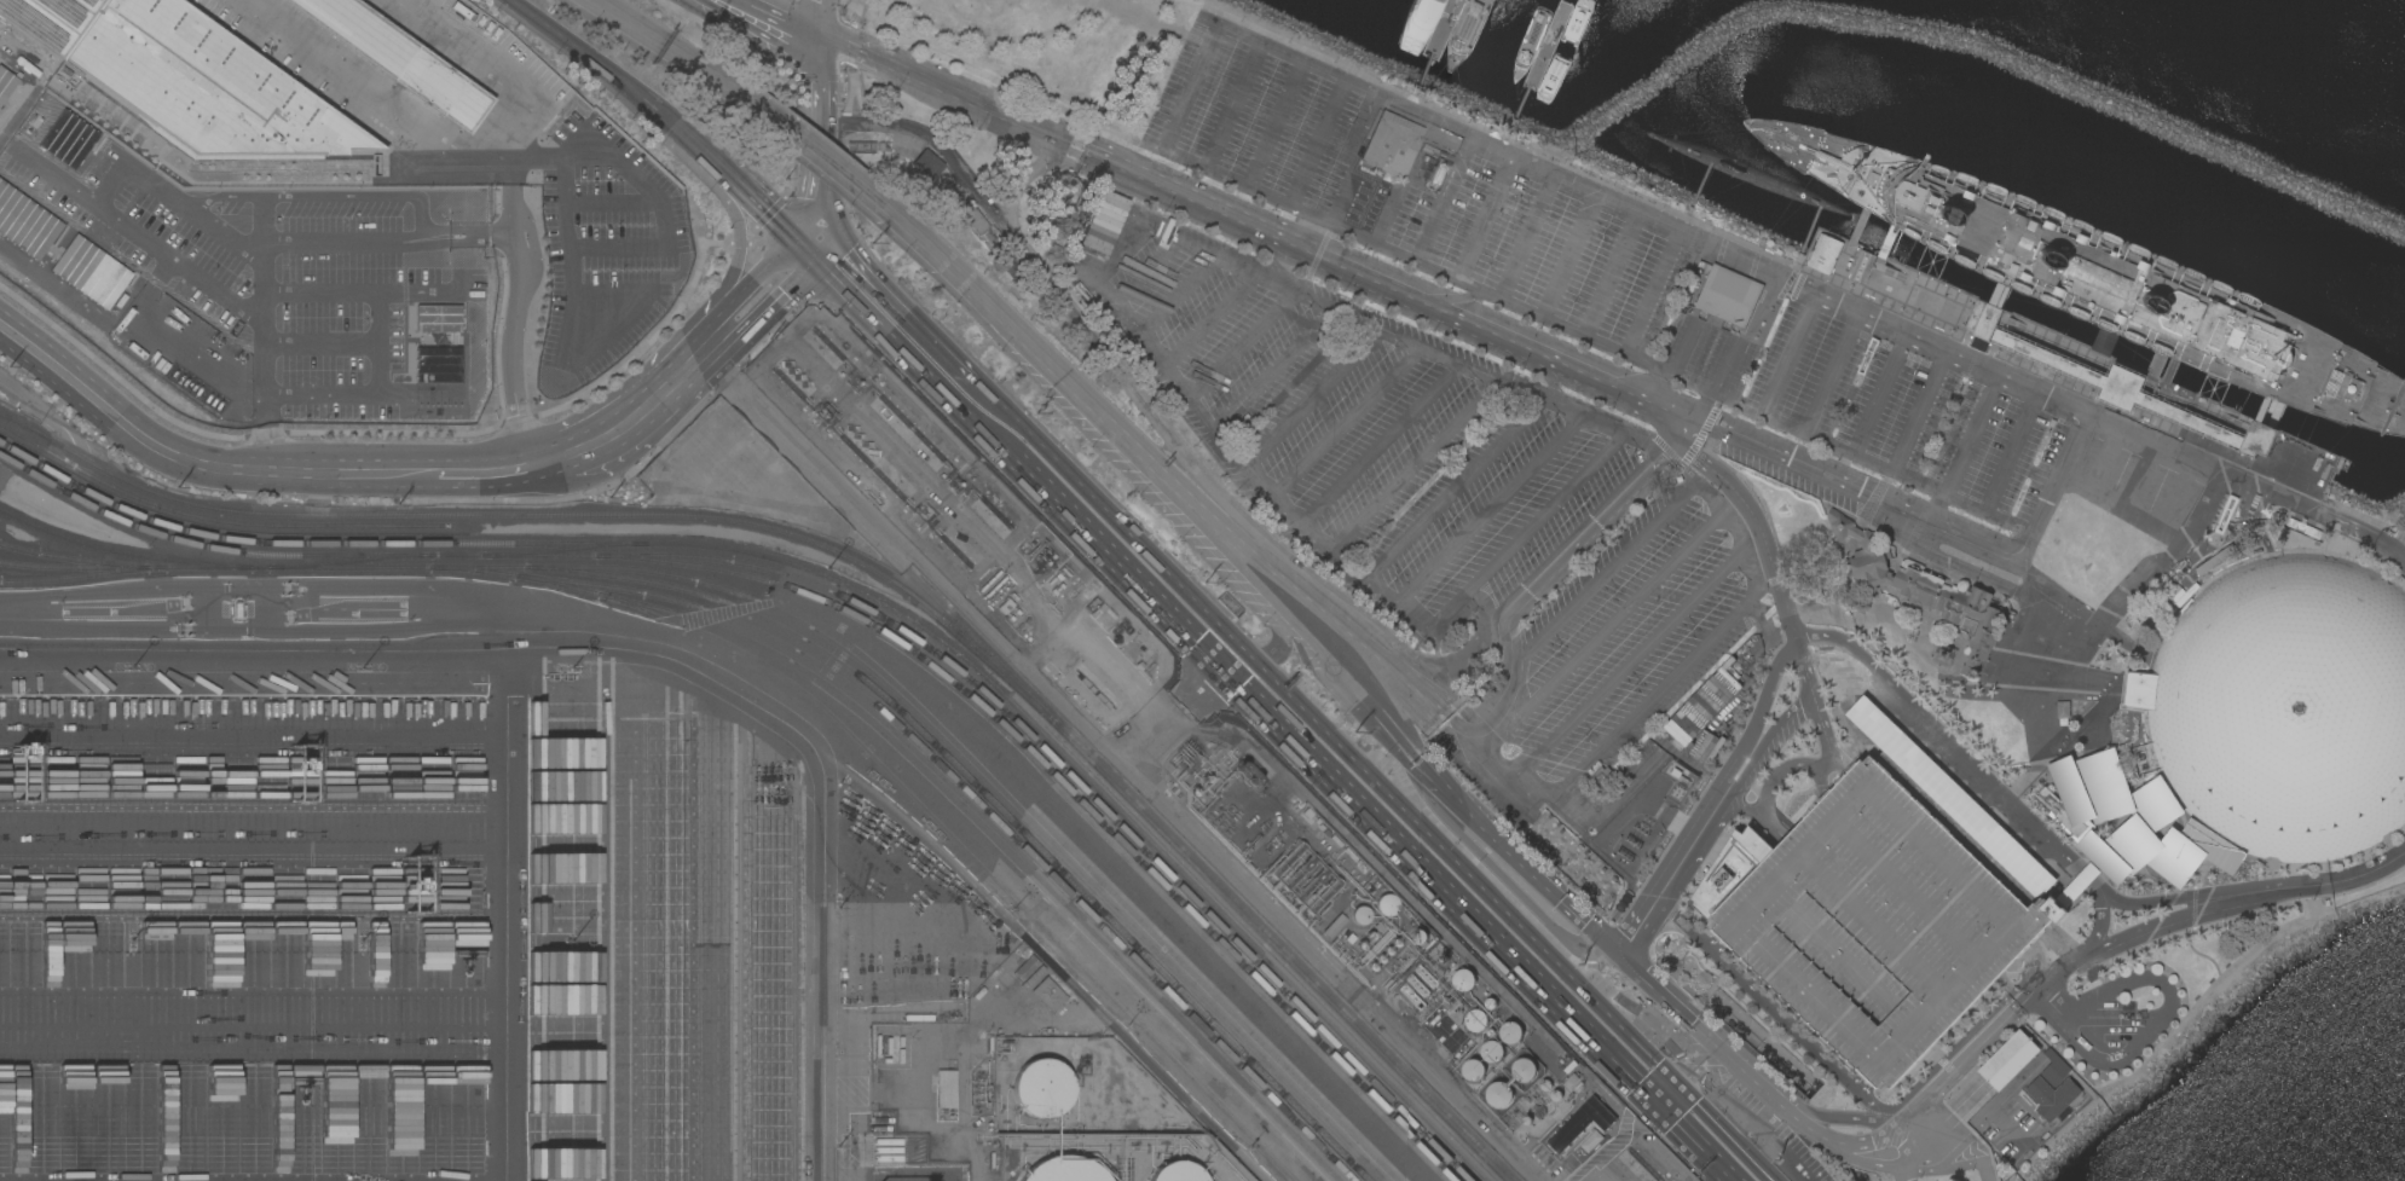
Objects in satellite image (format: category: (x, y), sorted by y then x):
road: (852, 8)
road: (790, 15)
road: (821, 15)
road: (1175, 16)
building: (52, 21)
road: (630, 21)
traffic signals: (821, 29)
pier: (1441, 31)
road: (771, 35)
road: (995, 39)
road: (851, 42)
park: (1102, 47)
pier: (1545, 51)
road: (821, 56)
building: (399, 58)
road: (591, 60)
road: (482, 62)
road: (894, 62)
road: (709, 75)
building: (5, 83)
traffic signals: (821, 83)
road: (1186, 85)
building: (204, 86)
road: (371, 92)
road: (1046, 102)
road: (1231, 104)
road: (820, 106)
road: (1274, 123)
building: (68, 139)
road: (692, 143)
road: (1317, 143)
building: (1392, 144)
road: (511, 149)
toll booth: (1076, 150)
road: (557, 158)
road: (820, 161)
building: (919, 167)
building: (1069, 172)
building: (1439, 174)
building: (1742, 175)
road: (58, 176)
road: (1380, 181)
road: (815, 186)
road: (1019, 186)
road: (1699, 192)
road: (322, 195)
road: (1446, 201)
road: (761, 202)
road: (609, 204)
building: (973, 218)
road: (1481, 219)
building: (1103, 221)
building: (25, 222)
road: (1860, 226)
road: (1810, 232)
road: (1524, 238)
road: (244, 241)
traffic signals: (810, 243)
road: (1300, 248)
road: (1125, 249)
building: (1825, 254)
road: (1567, 257)
road: (1272, 259)
road: (1880, 259)
road: (1744, 265)
building: (1867, 266)
road: (1438, 268)
building: (91, 271)
road: (1143, 272)
road: (1608, 276)
building: (2103, 279)
parking lot: (1595, 282)
road: (855, 288)
road: (215, 289)
road: (363, 290)
road: (716, 295)
road: (1653, 295)
road: (1175, 296)
building: (1729, 296)
road: (2000, 297)
road: (1459, 299)
road: (753, 302)
building: (438, 318)
road: (1208, 320)
road: (1071, 322)
road: (262, 332)
road: (2103, 341)
road: (377, 342)
building: (2104, 342)
road: (319, 343)
road: (566, 345)
road: (1239, 345)
road: (1684, 349)
road: (1742, 355)
building: (437, 364)
road: (1465, 369)
road: (2169, 369)
road: (46, 370)
road: (1274, 371)
road: (2152, 374)
road: (1548, 380)
building: (2137, 386)
road: (669, 388)
road: (359, 394)
road: (1308, 396)
road: (1871, 410)
road: (2261, 411)
road: (2273, 416)
road: (1105, 417)
road: (1345, 422)
road: (1783, 424)
railway: (24, 425)
road: (1913, 427)
road: (1612, 428)
road: (1380, 444)
road: (586, 446)
railway: (10, 447)
road: (1411, 465)
road: (1682, 465)
road: (473, 467)
road: (247, 471)
parking lot: (2045, 479)
parking lot: (1788, 482)
road: (1452, 487)
road: (1852, 488)
road: (2050, 490)
road: (1066, 499)
road: (1962, 505)
road: (1490, 509)
road: (1754, 519)
railway: (210, 520)
road: (2343, 527)
parking lot: (1465, 528)
road: (1526, 529)
road: (1736, 531)
railway: (563, 549)
railway: (122, 551)
railway: (891, 552)
railway: (73, 558)
railway: (351, 561)
railway: (866, 565)
railway: (125, 567)
street lamp: (831, 574)
road: (1360, 574)
railway: (81, 575)
road: (1603, 575)
road: (1322, 583)
road: (1537, 585)
railway: (849, 587)
building: (1921, 589)
railway: (839, 594)
road: (2122, 594)
road: (1600, 631)
road: (636, 642)
road: (1283, 642)
building: (1943, 655)
road: (1625, 665)
road: (1382, 668)
road: (1804, 670)
road: (1374, 691)
road: (1655, 691)
railway: (904, 694)
road: (2046, 713)
building: (2257, 728)
road: (1825, 737)
road: (1947, 739)
road: (255, 745)
road: (1761, 753)
road: (1826, 765)
road: (1786, 768)
road: (1498, 770)
railway: (948, 774)
road: (1439, 780)
railway: (1073, 792)
building: (1949, 797)
road: (1709, 798)
railway: (990, 799)
railway: (970, 809)
road: (1754, 815)
road: (254, 841)
railway: (973, 852)
building: (1284, 859)
building: (1294, 868)
road: (2082, 873)
road: (2369, 873)
building: (1303, 878)
road: (2089, 878)
road: (2087, 880)
road: (1542, 881)
building: (2077, 885)
road: (1909, 888)
road: (1671, 890)
road: (2207, 893)
road: (1524, 899)
road: (1033, 902)
building: (2328, 903)
building: (1387, 904)
road: (608, 909)
road: (1995, 909)
road: (2209, 909)
building: (1360, 915)
road: (2099, 916)
road: (508, 919)
building: (1869, 921)
parking lot: (1869, 921)
road: (717, 922)
road: (1492, 924)
road: (1875, 925)
building: (1420, 937)
street lamp: (359, 939)
street lamp: (570, 940)
road: (1716, 943)
road: (1843, 960)
road: (254, 974)
road: (2056, 974)
road: (2025, 977)
building: (1463, 979)
building: (1418, 984)
building: (1048, 994)
road: (1759, 994)
road: (2004, 1001)
building: (1475, 1020)
road: (2153, 1027)
road: (1702, 1031)
building: (1511, 1032)
building: (1492, 1052)
road: (1958, 1059)
building: (2008, 1060)
building: (1473, 1070)
building: (1525, 1070)
road: (1692, 1071)
road: (1860, 1082)
building: (1041, 1087)
building: (947, 1088)
road: (1867, 1089)
road: (1858, 1090)
building: (1499, 1094)
building: (2052, 1096)
traffic signals: (1666, 1098)
road: (1879, 1107)
road: (1835, 1117)
building: (1580, 1123)
road: (1802, 1123)
road: (1906, 1137)
road: (1872, 1144)
street lamp: (836, 1145)
road: (1958, 1147)
road: (1861, 1160)
road: (1903, 1162)
road: (1924, 1164)
road: (1965, 1164)
building: (1064, 1170)
building: (1177, 1173)
road: (1900, 1173)

